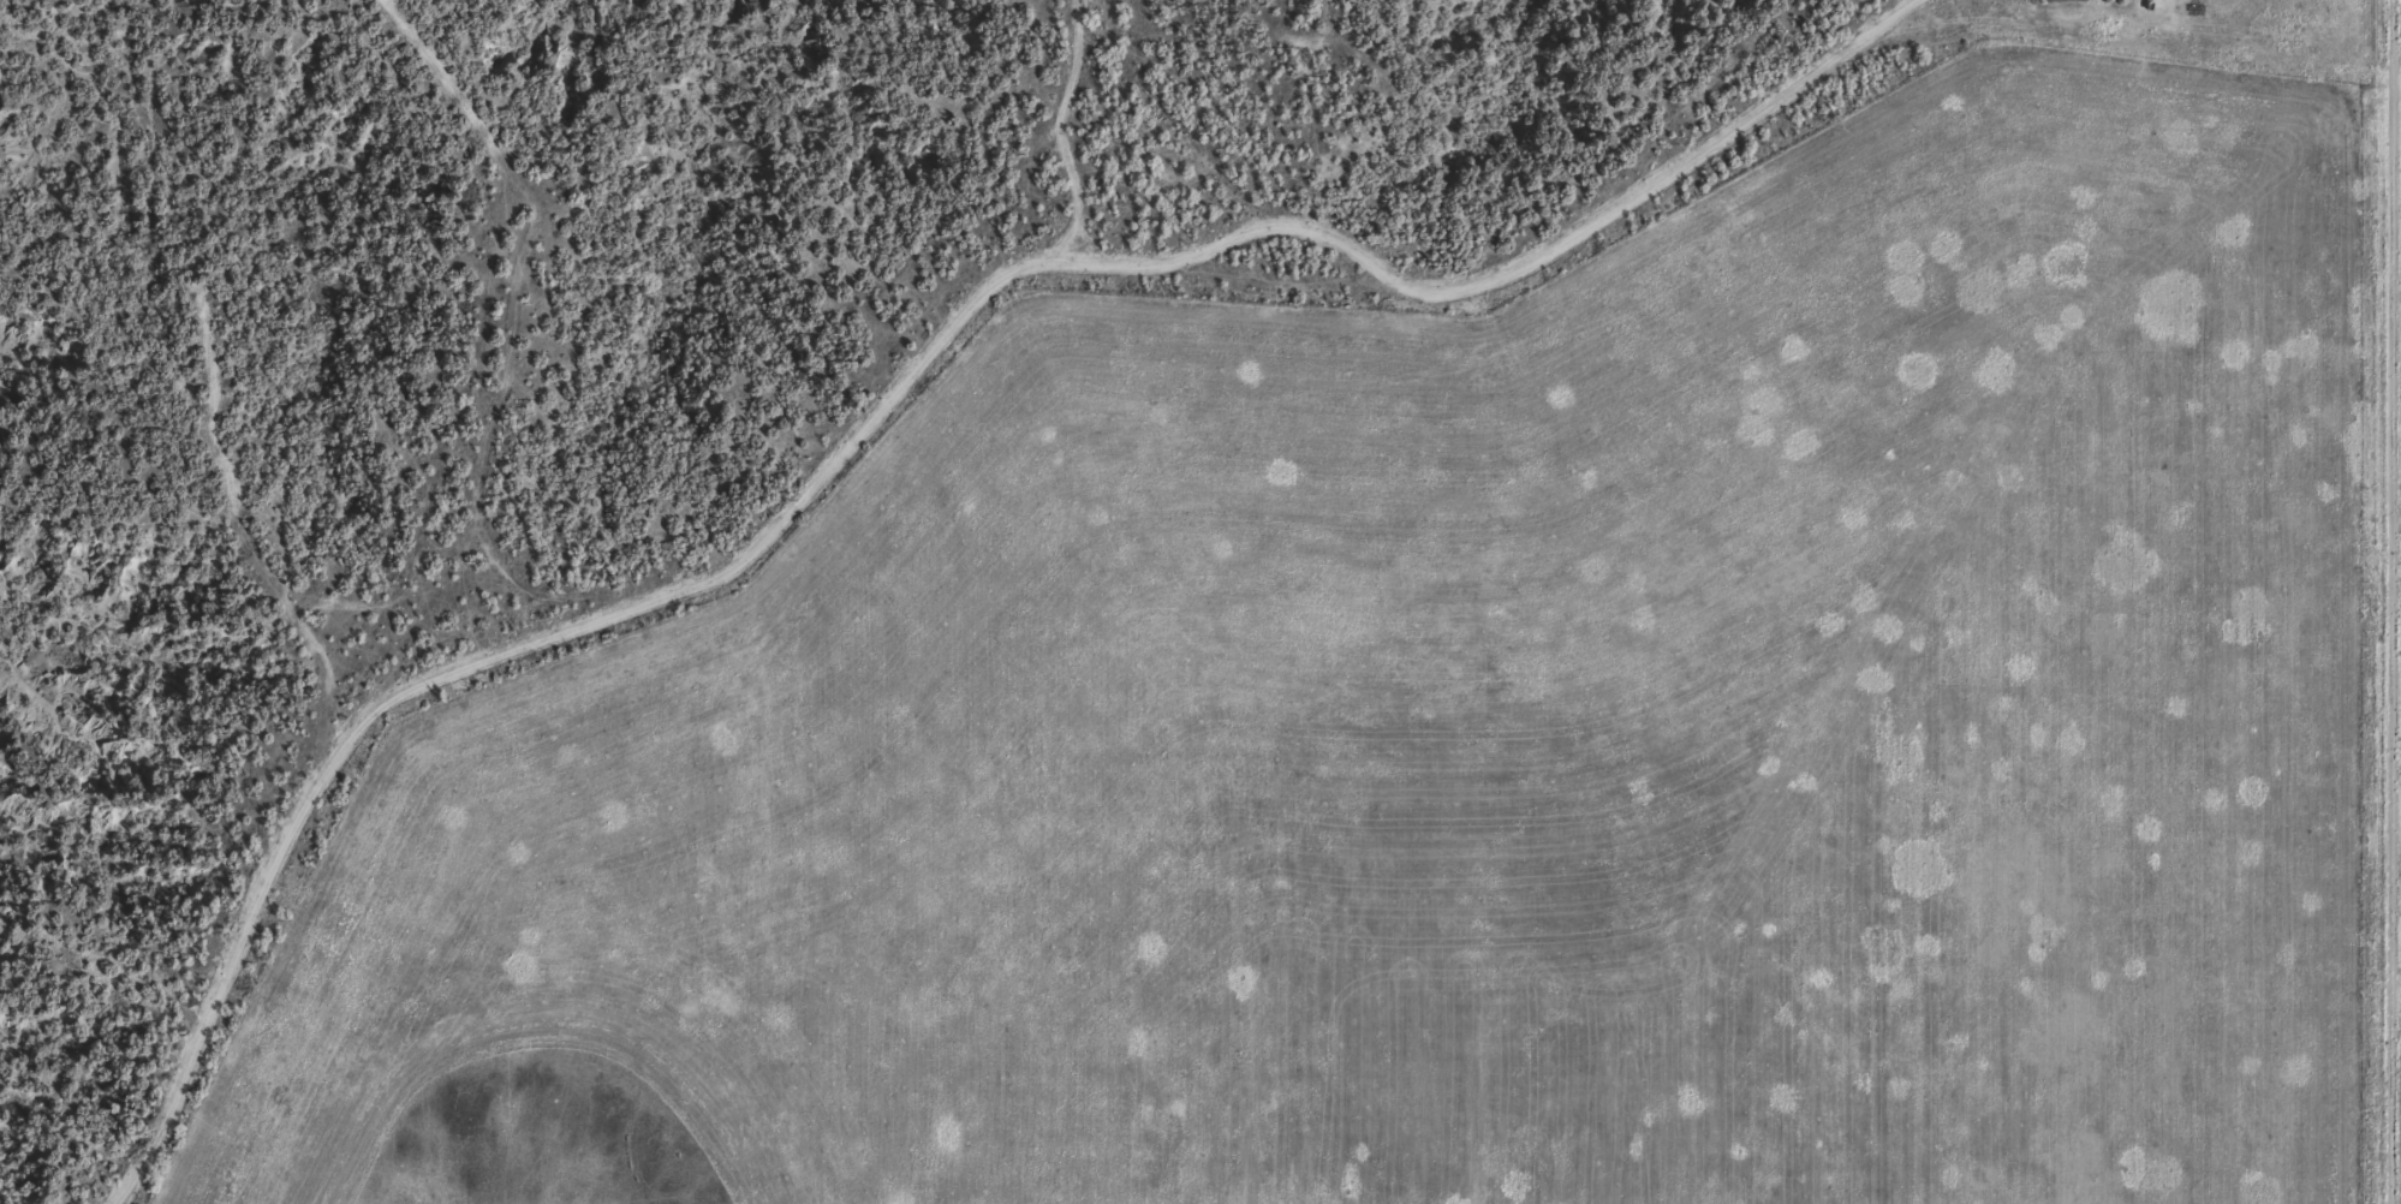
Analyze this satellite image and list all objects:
road: (2396, 602)

